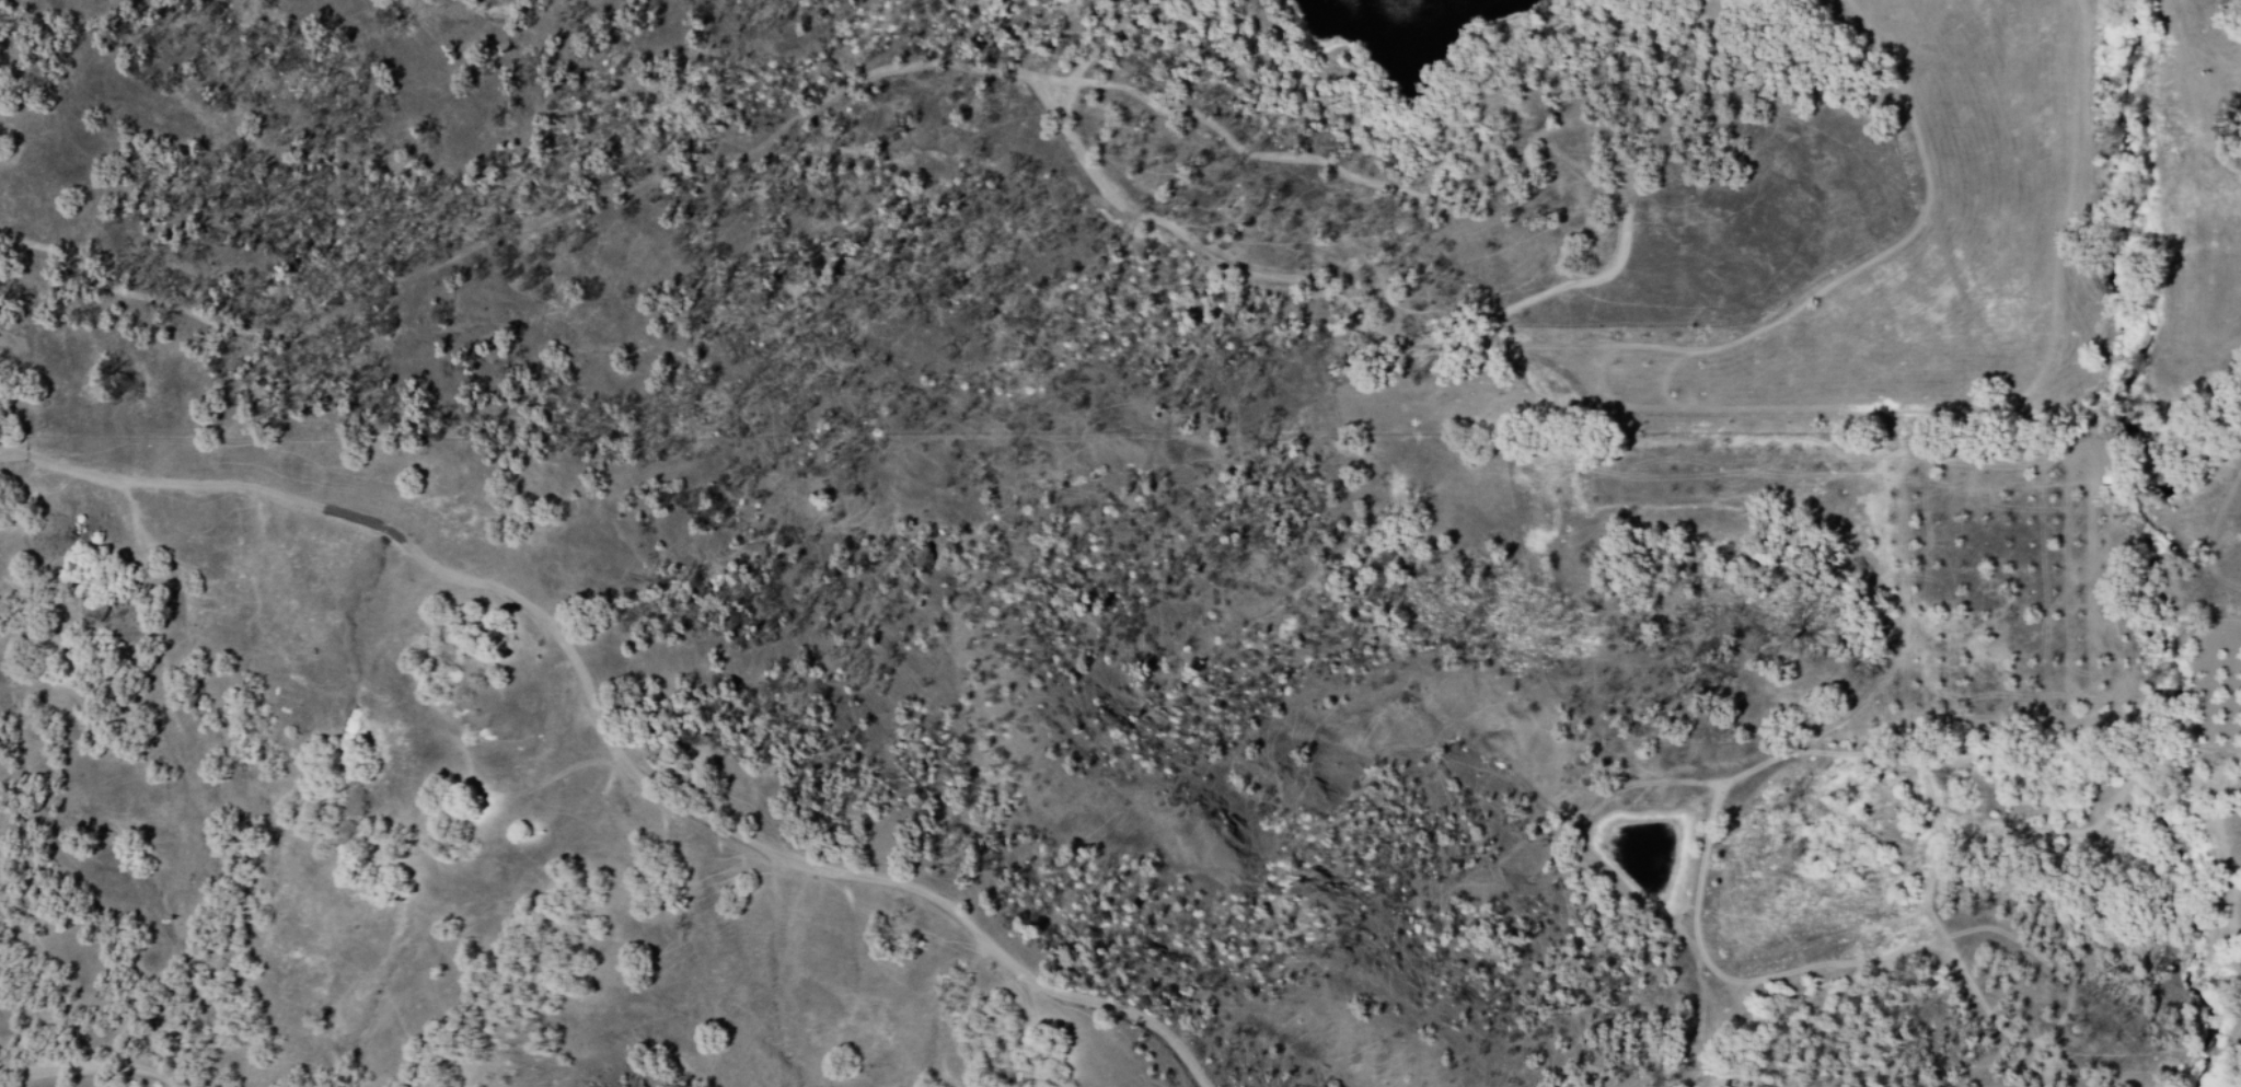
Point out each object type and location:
road: (597, 706)
road: (2020, 747)
road: (86, 1073)

